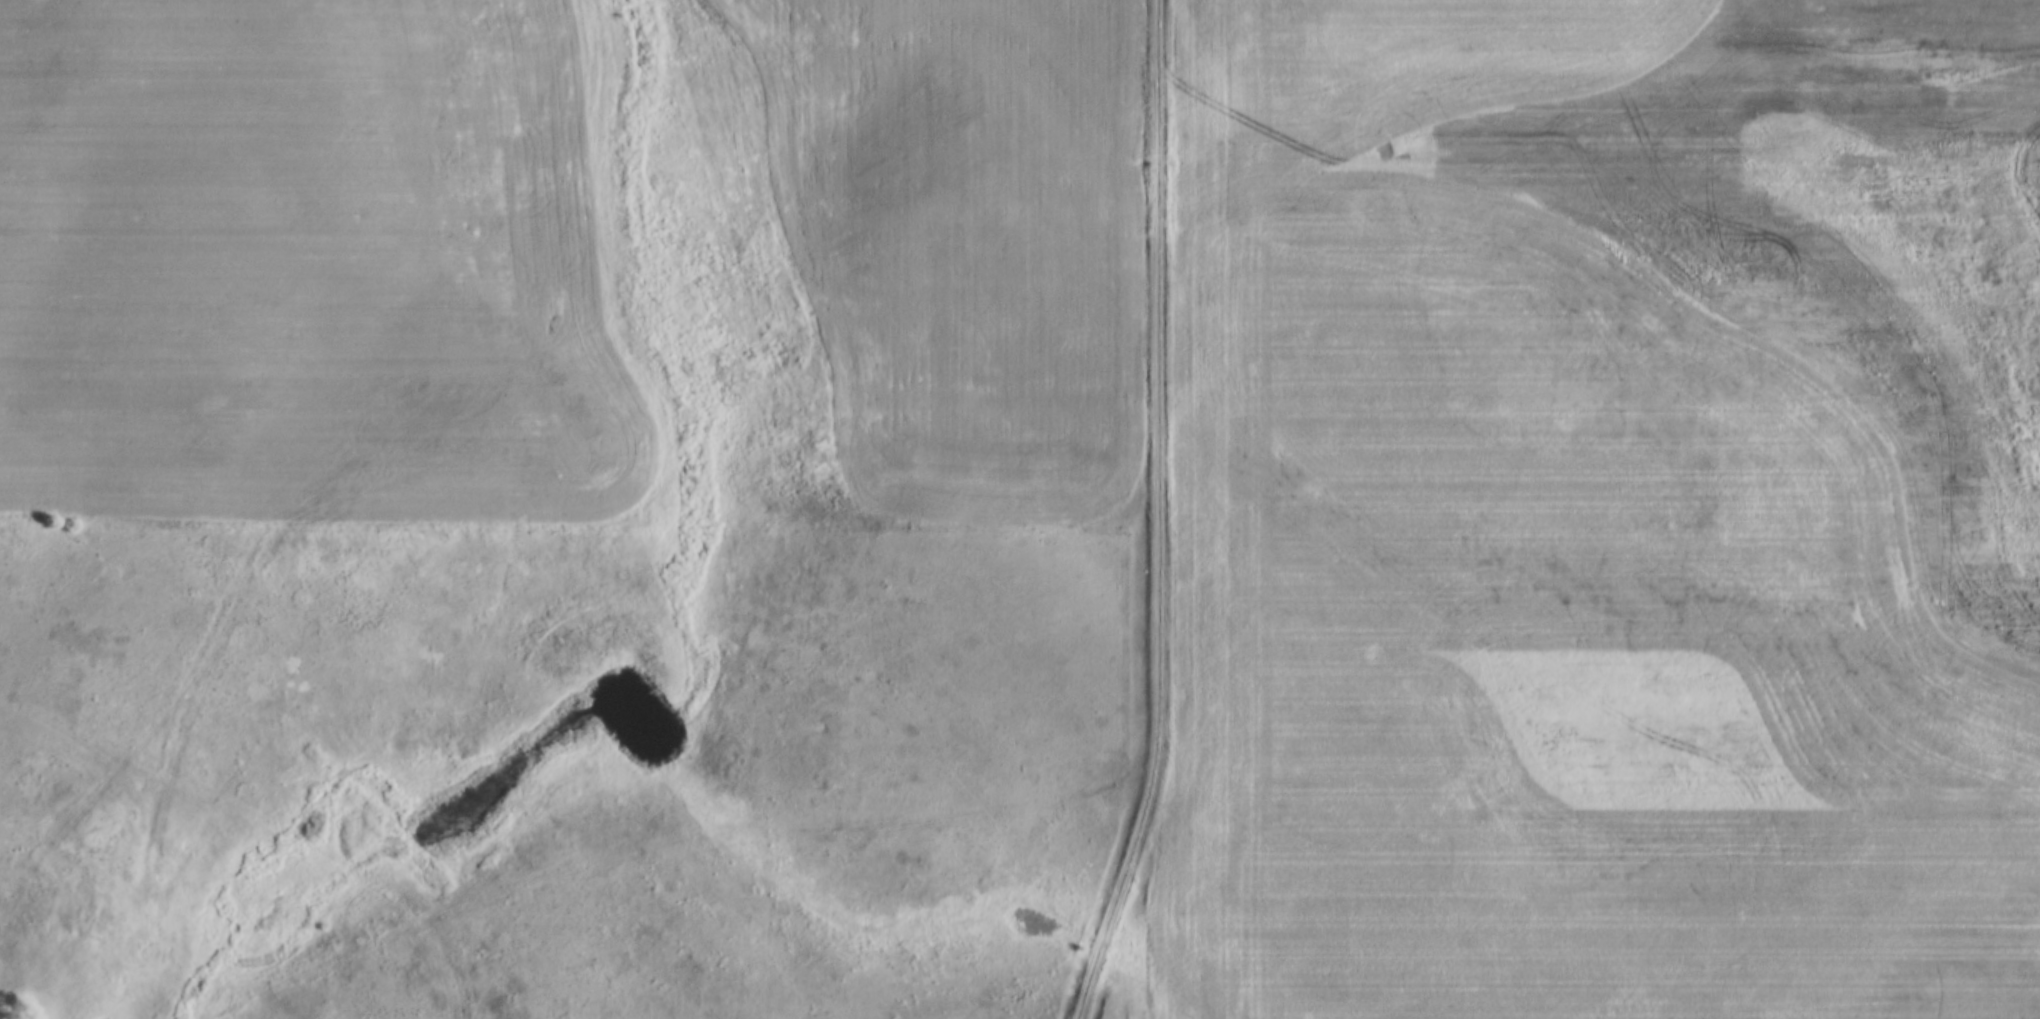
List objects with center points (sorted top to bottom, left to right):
road: (1159, 515)

